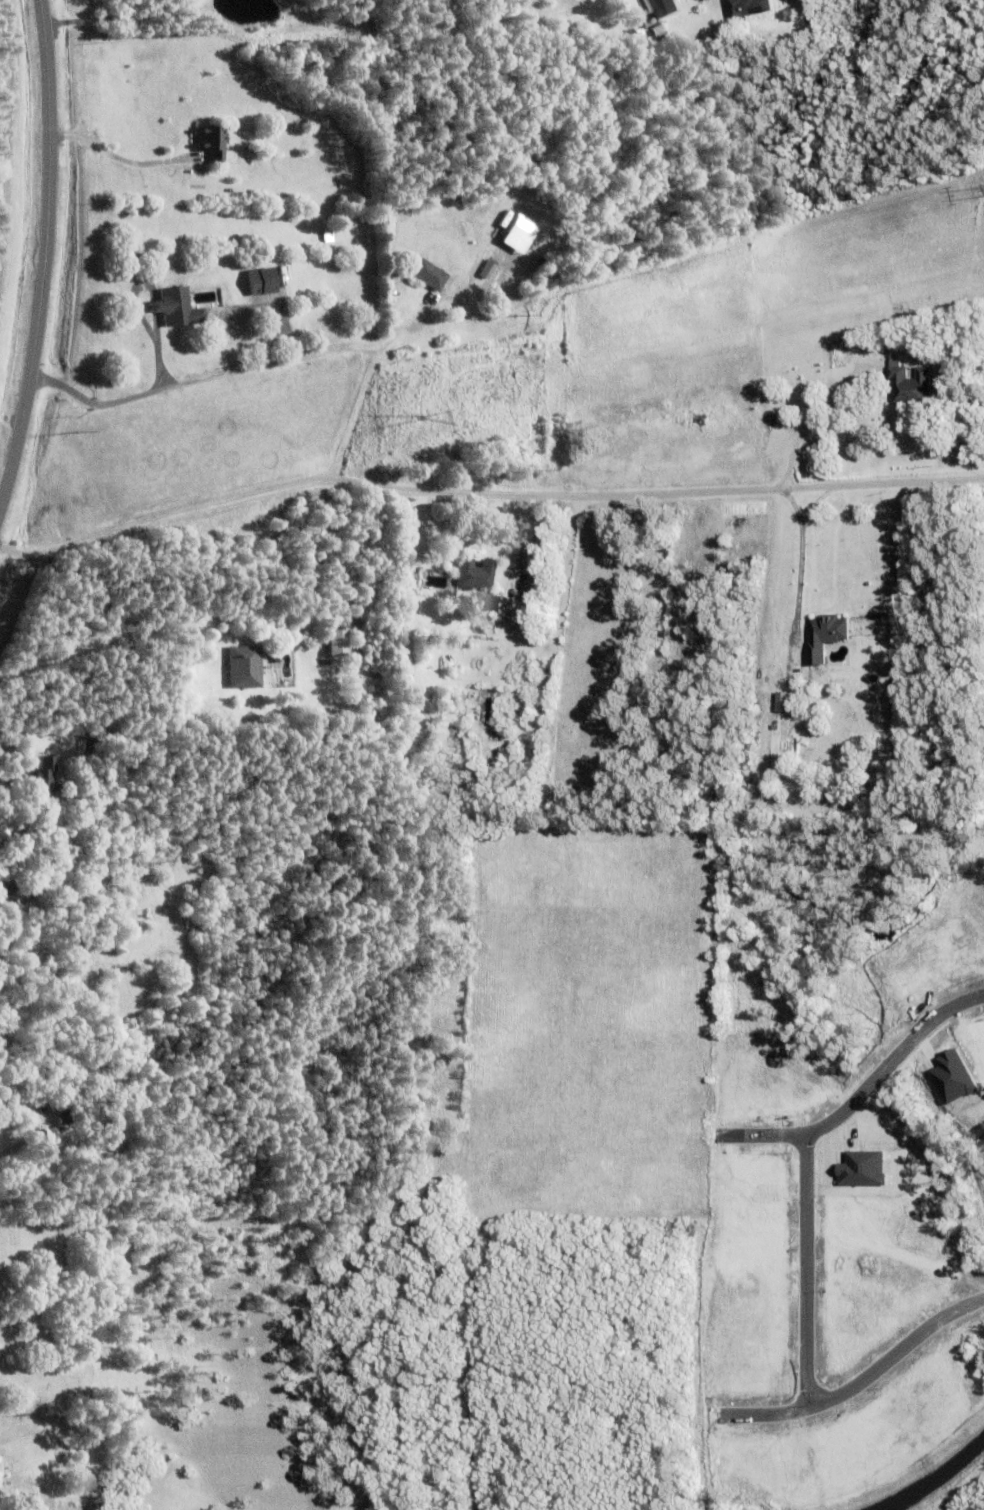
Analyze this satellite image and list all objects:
building: (661, 8)
building: (745, 9)
road: (123, 18)
building: (590, 30)
building: (658, 31)
building: (212, 144)
road: (121, 154)
building: (249, 197)
building: (515, 234)
building: (328, 236)
road: (55, 259)
building: (488, 270)
building: (430, 276)
building: (262, 283)
road: (156, 309)
building: (177, 310)
road: (145, 323)
road: (157, 331)
road: (267, 363)
building: (906, 383)
building: (541, 416)
power tower: (432, 418)
road: (807, 424)
road: (485, 491)
road: (813, 506)
road: (791, 508)
building: (397, 571)
building: (476, 577)
road: (796, 587)
building: (489, 605)
building: (823, 635)
road: (92, 639)
building: (337, 644)
building: (245, 670)
building: (411, 701)
building: (780, 701)
building: (454, 704)
building: (175, 710)
building: (487, 710)
building: (91, 747)
building: (45, 779)
building: (16, 889)
building: (440, 1083)
road: (863, 1092)
building: (69, 1109)
road: (808, 1270)
building: (2, 1306)
building: (34, 1315)
road: (860, 1382)
building: (1, 1482)
building: (22, 1500)

